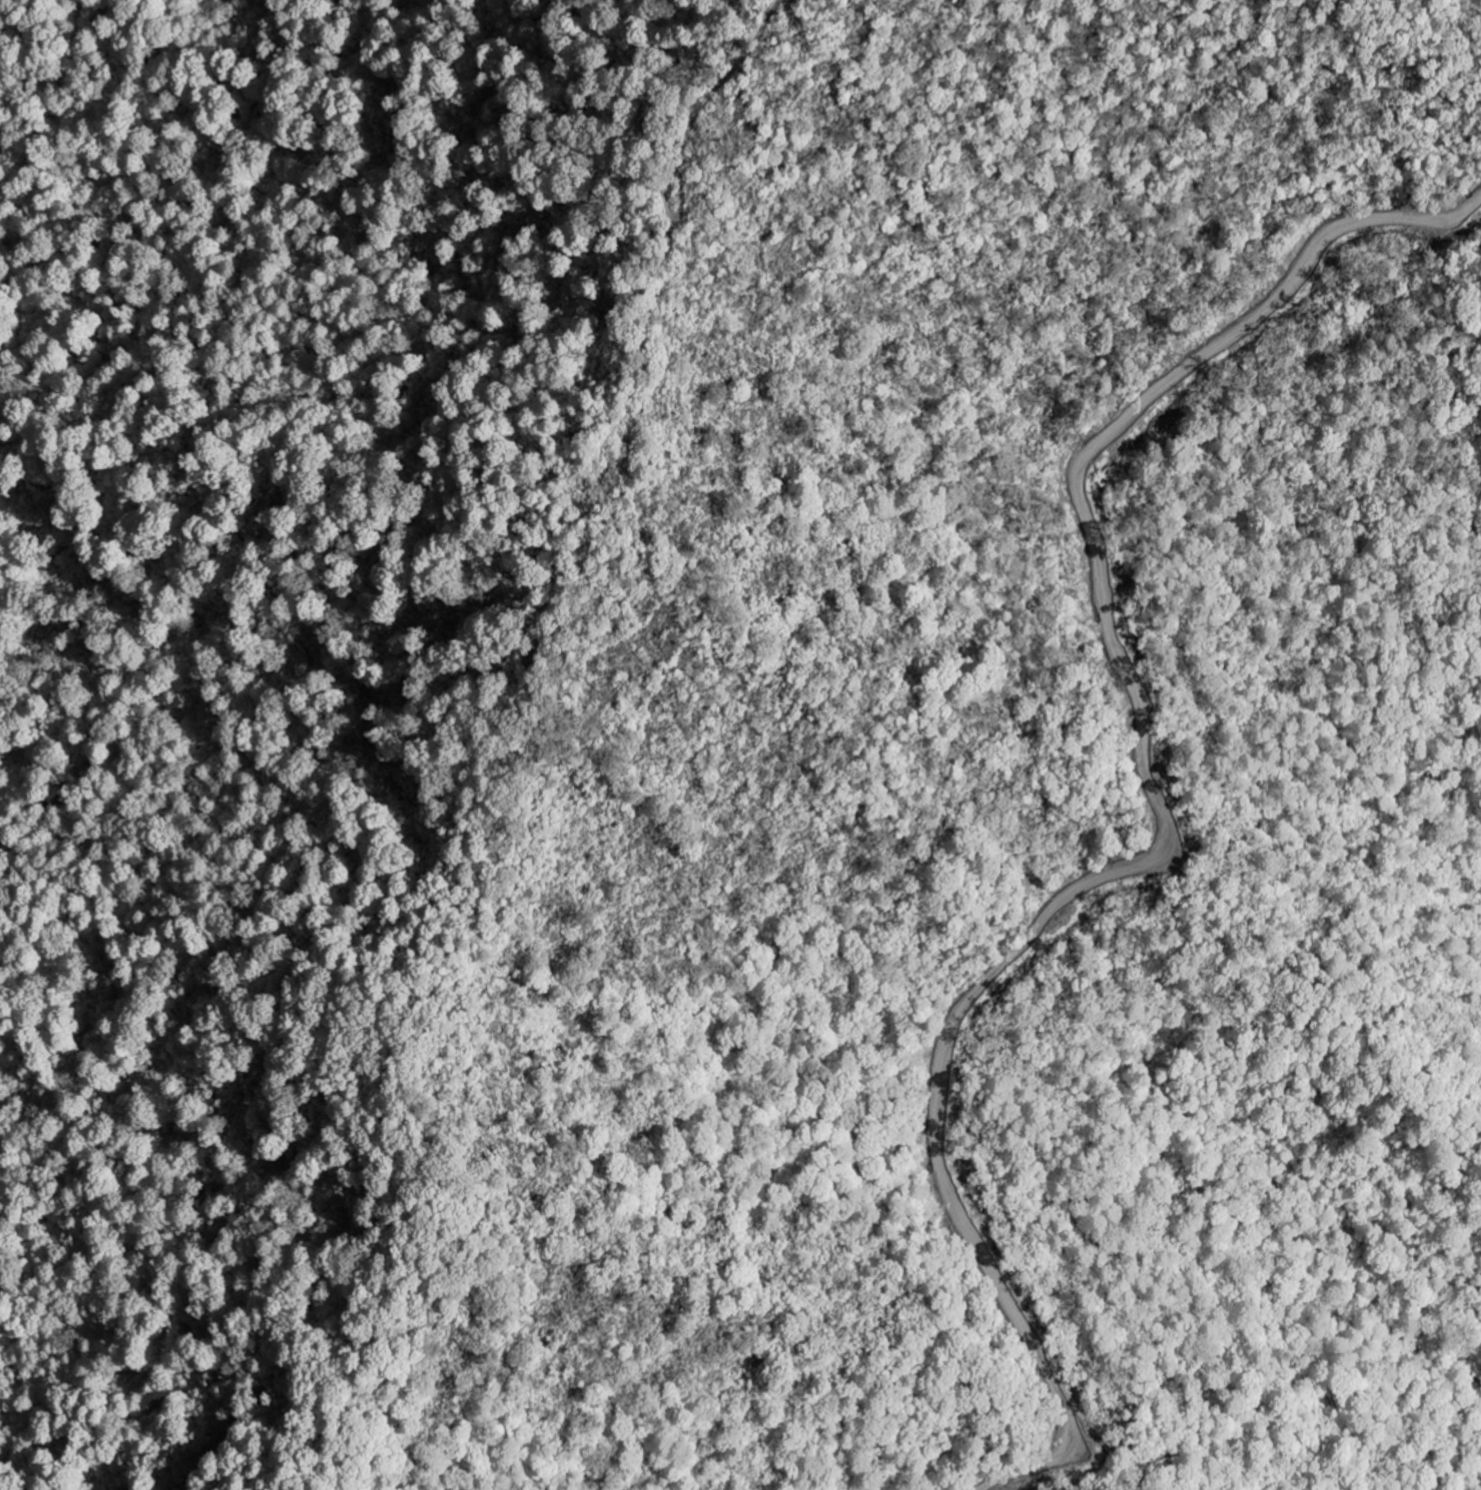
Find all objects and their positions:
road: (1170, 821)

